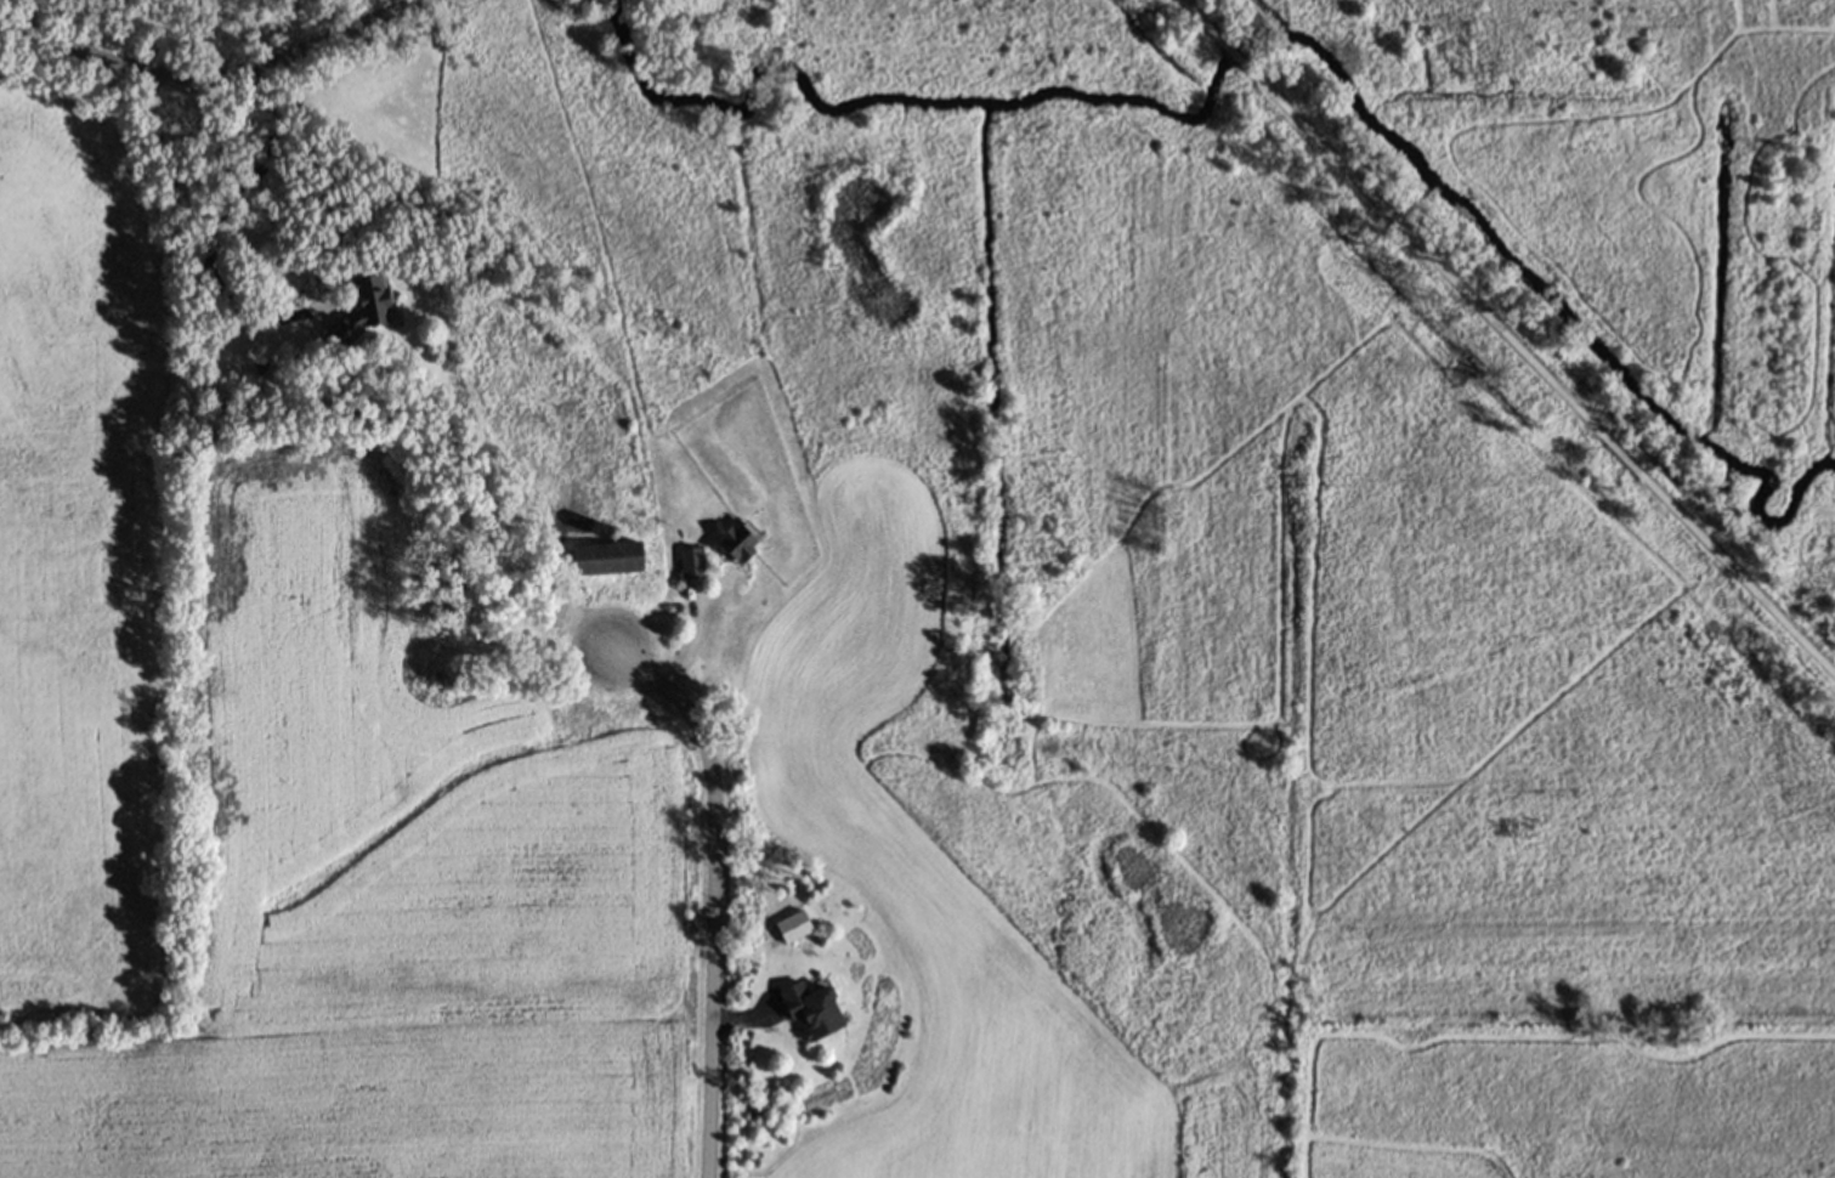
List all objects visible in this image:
road: (1188, 10)
road: (1228, 51)
road: (214, 77)
road: (226, 220)
building: (362, 306)
road: (1547, 378)
building: (741, 539)
building: (607, 556)
building: (692, 561)
building: (465, 599)
road: (717, 893)
building: (791, 928)
building: (810, 1004)

